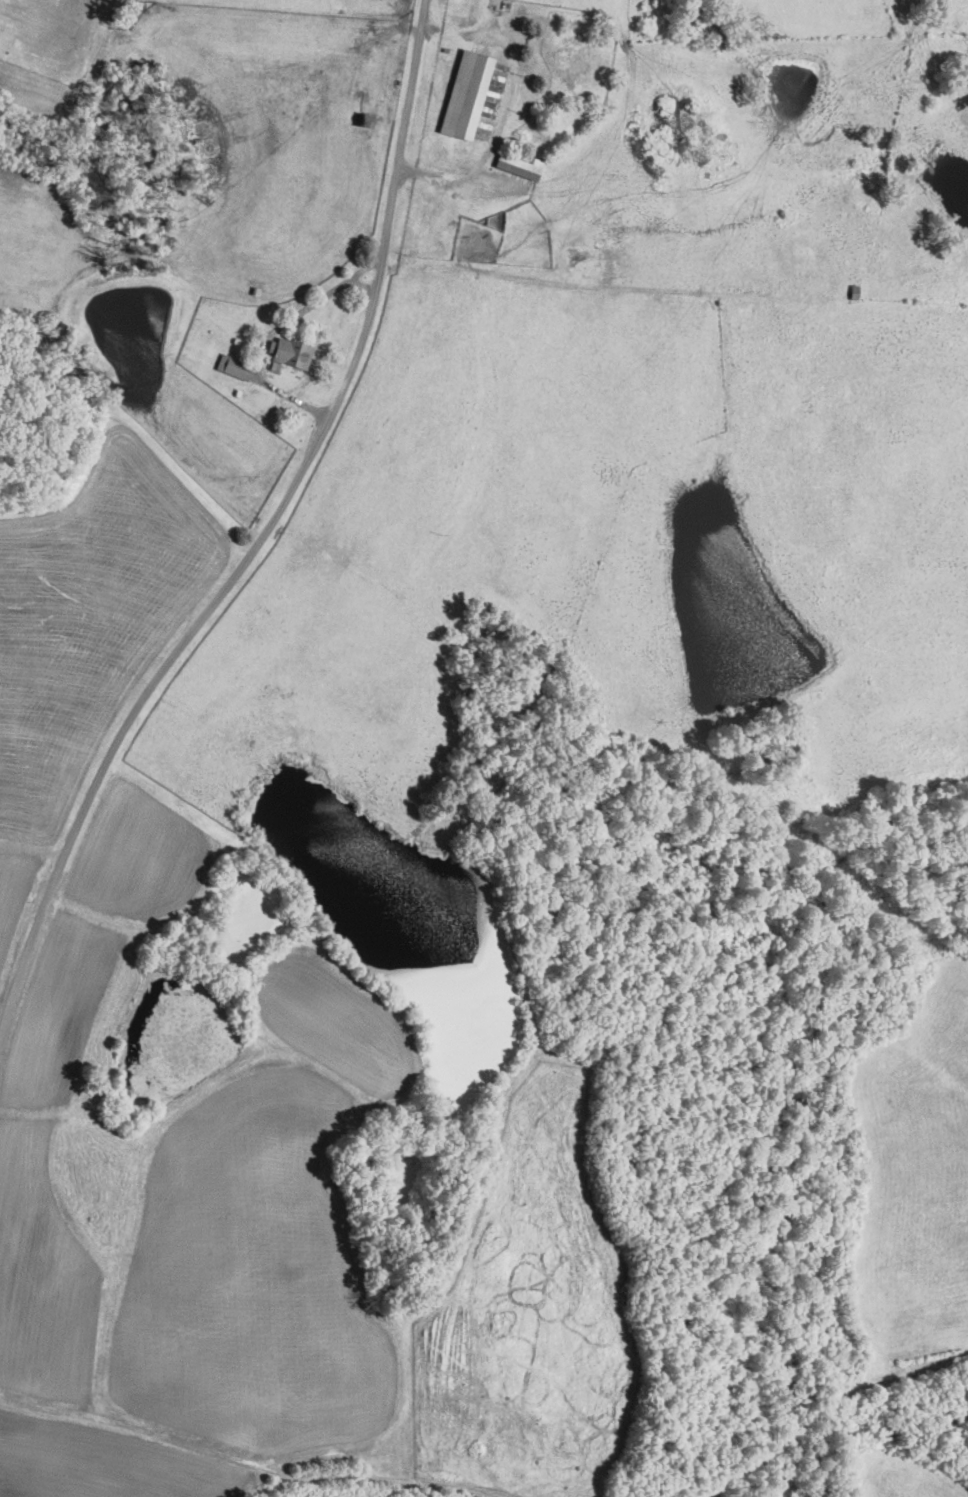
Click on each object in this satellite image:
building: (569, 49)
building: (470, 96)
road: (493, 141)
building: (516, 164)
building: (456, 236)
building: (582, 262)
road: (364, 285)
road: (272, 332)
building: (289, 351)
building: (231, 366)
road: (262, 540)

